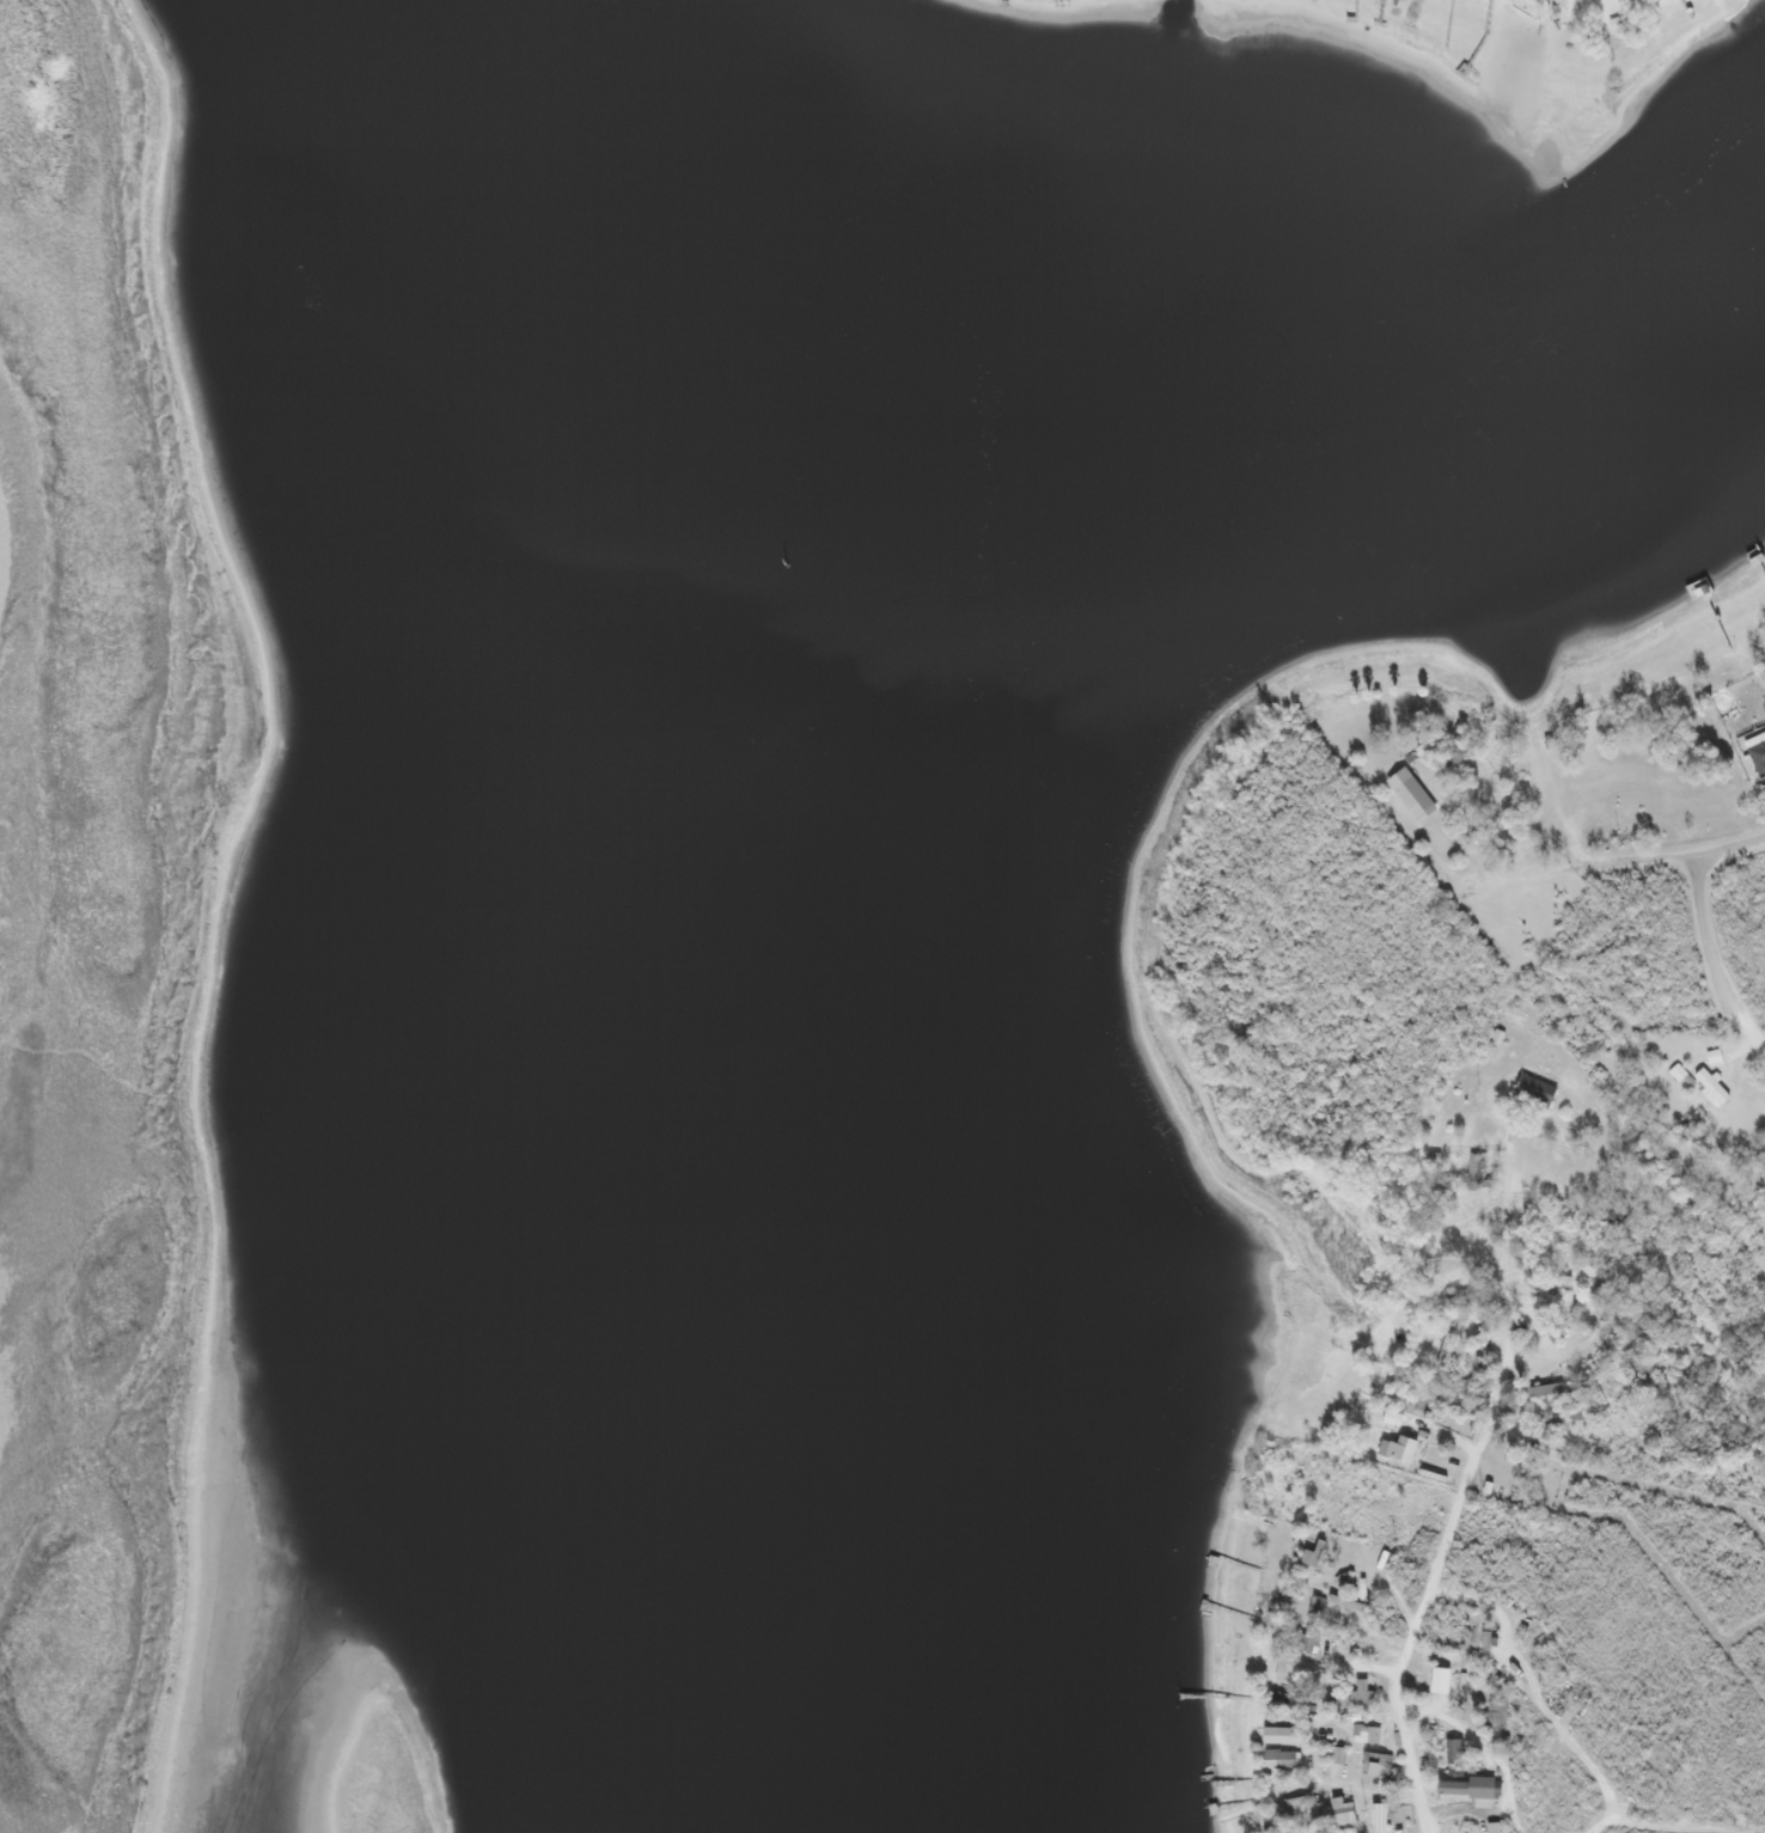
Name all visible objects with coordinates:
building: (1755, 746)
building: (1412, 795)
road: (1588, 866)
road: (1699, 909)
road: (1752, 1033)
building: (1497, 1037)
building: (1714, 1057)
building: (1682, 1077)
building: (1712, 1088)
building: (1534, 1093)
building: (1477, 1172)
building: (1555, 1216)
building: (1557, 1283)
building: (1459, 1295)
building: (1443, 1356)
building: (1470, 1361)
building: (1544, 1389)
building: (1391, 1417)
building: (1539, 1428)
building: (1423, 1435)
building: (1398, 1448)
building: (1431, 1473)
building: (1486, 1486)
building: (1312, 1553)
building: (1382, 1559)
road: (1441, 1565)
building: (1345, 1602)
building: (1309, 1637)
building: (1288, 1673)
building: (1362, 1692)
building: (1494, 1717)
building: (1281, 1734)
building: (1366, 1734)
building: (1453, 1750)
building: (1339, 1755)
building: (1281, 1758)
building: (1376, 1764)
building: (1468, 1785)
building: (1297, 1805)
building: (1343, 1811)
building: (1376, 1817)
building: (1492, 1827)
building: (1397, 1831)

